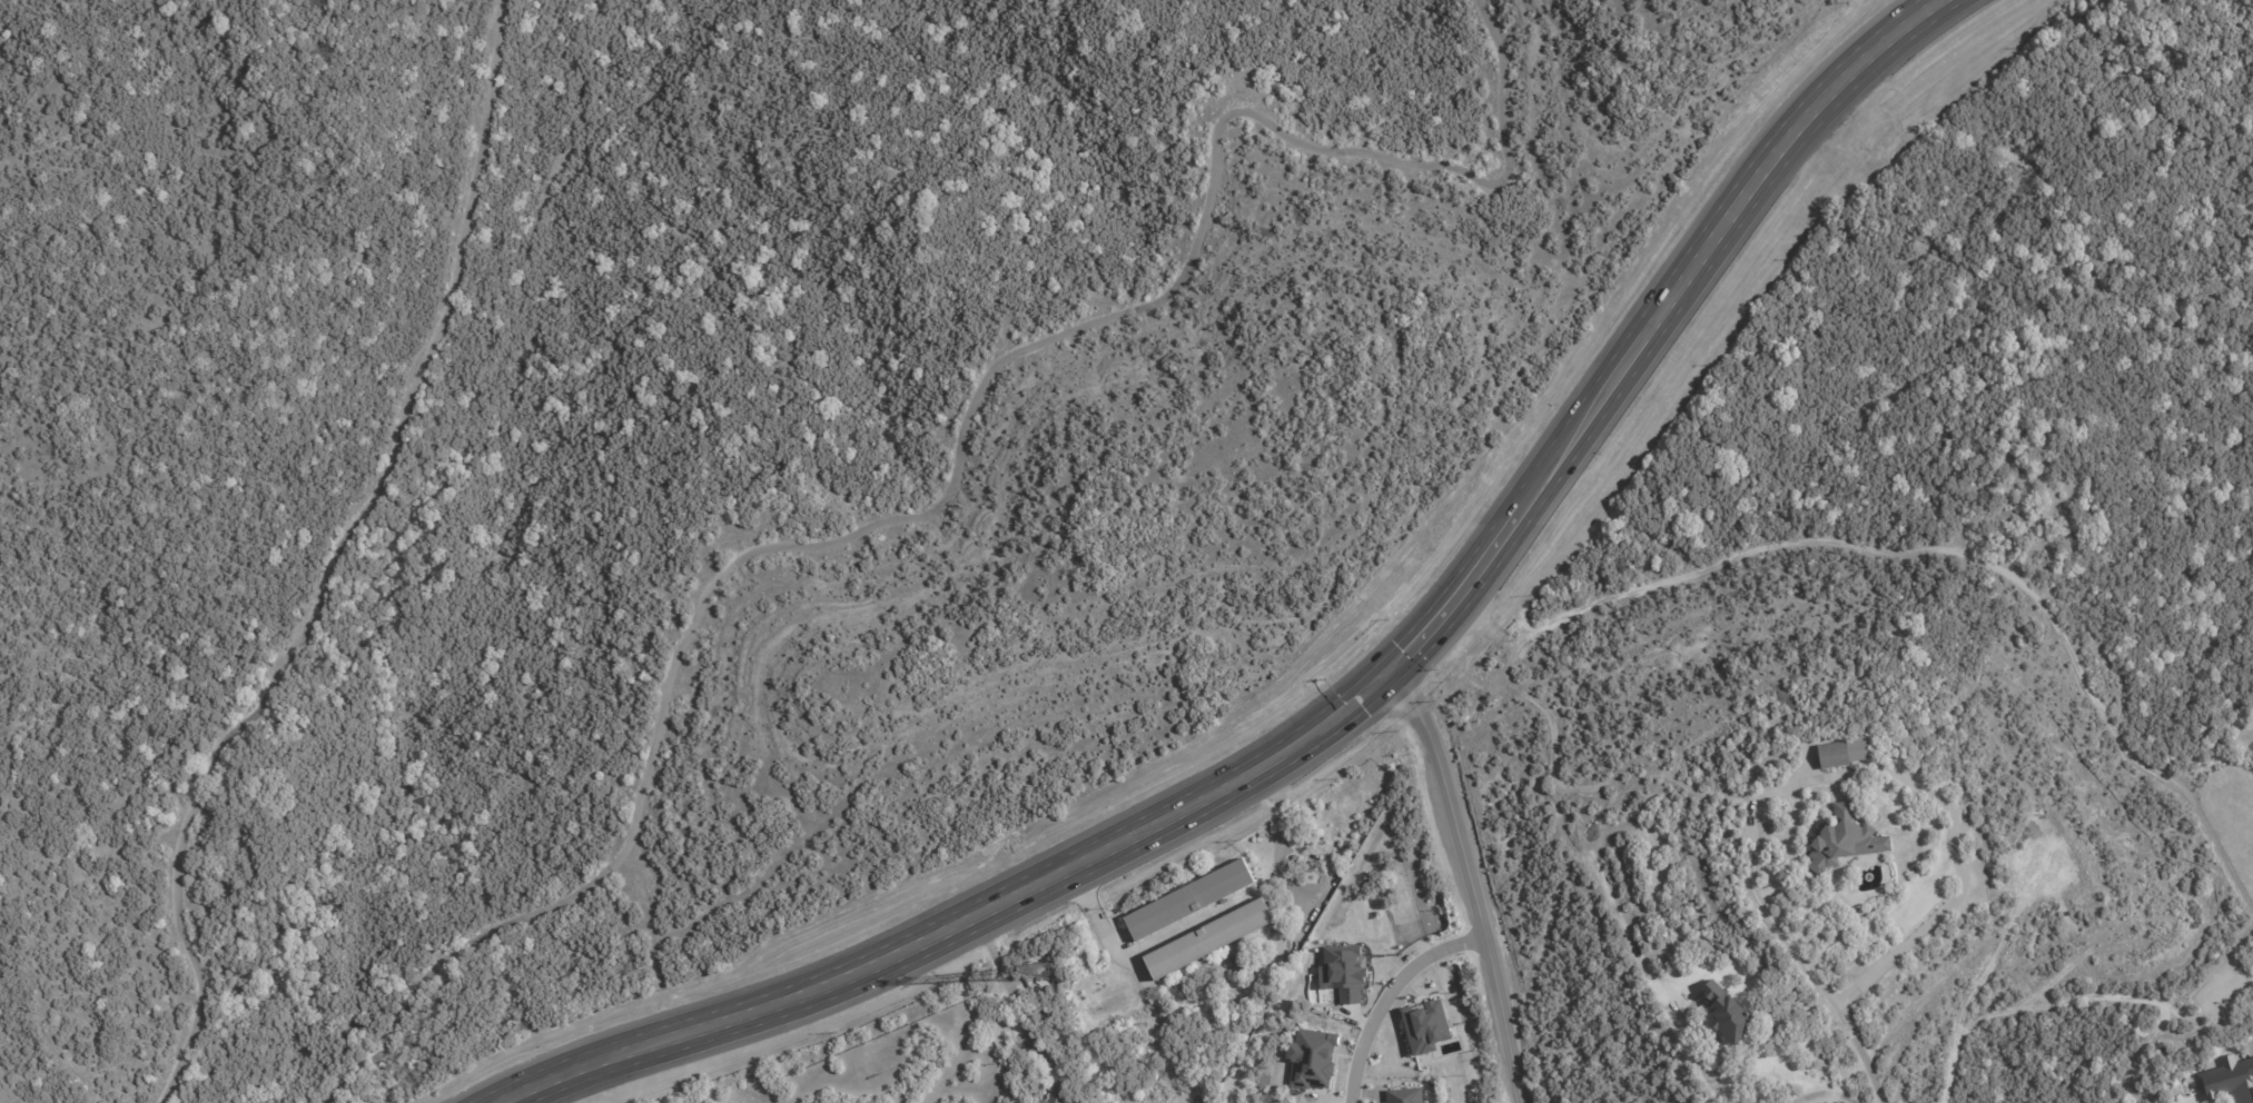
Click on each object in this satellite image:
road: (1706, 242)
road: (1926, 547)
road: (1450, 598)
building: (1869, 724)
building: (1891, 741)
building: (1838, 752)
road: (1558, 803)
road: (1950, 812)
building: (1876, 818)
road: (1279, 828)
building: (1841, 839)
building: (1318, 863)
road: (1469, 880)
building: (1188, 900)
road: (960, 925)
building: (1226, 940)
road: (1124, 950)
building: (1721, 951)
building: (1031, 965)
building: (1234, 965)
building: (1285, 967)
road: (1808, 971)
road: (1007, 990)
road: (1389, 995)
building: (1142, 1004)
building: (1726, 1015)
road: (1965, 1020)
building: (1424, 1027)
building: (1311, 1060)
road: (2137, 1061)
road: (1703, 1065)
building: (2227, 1081)
building: (1059, 1092)
road: (1826, 1099)
building: (1395, 1100)

